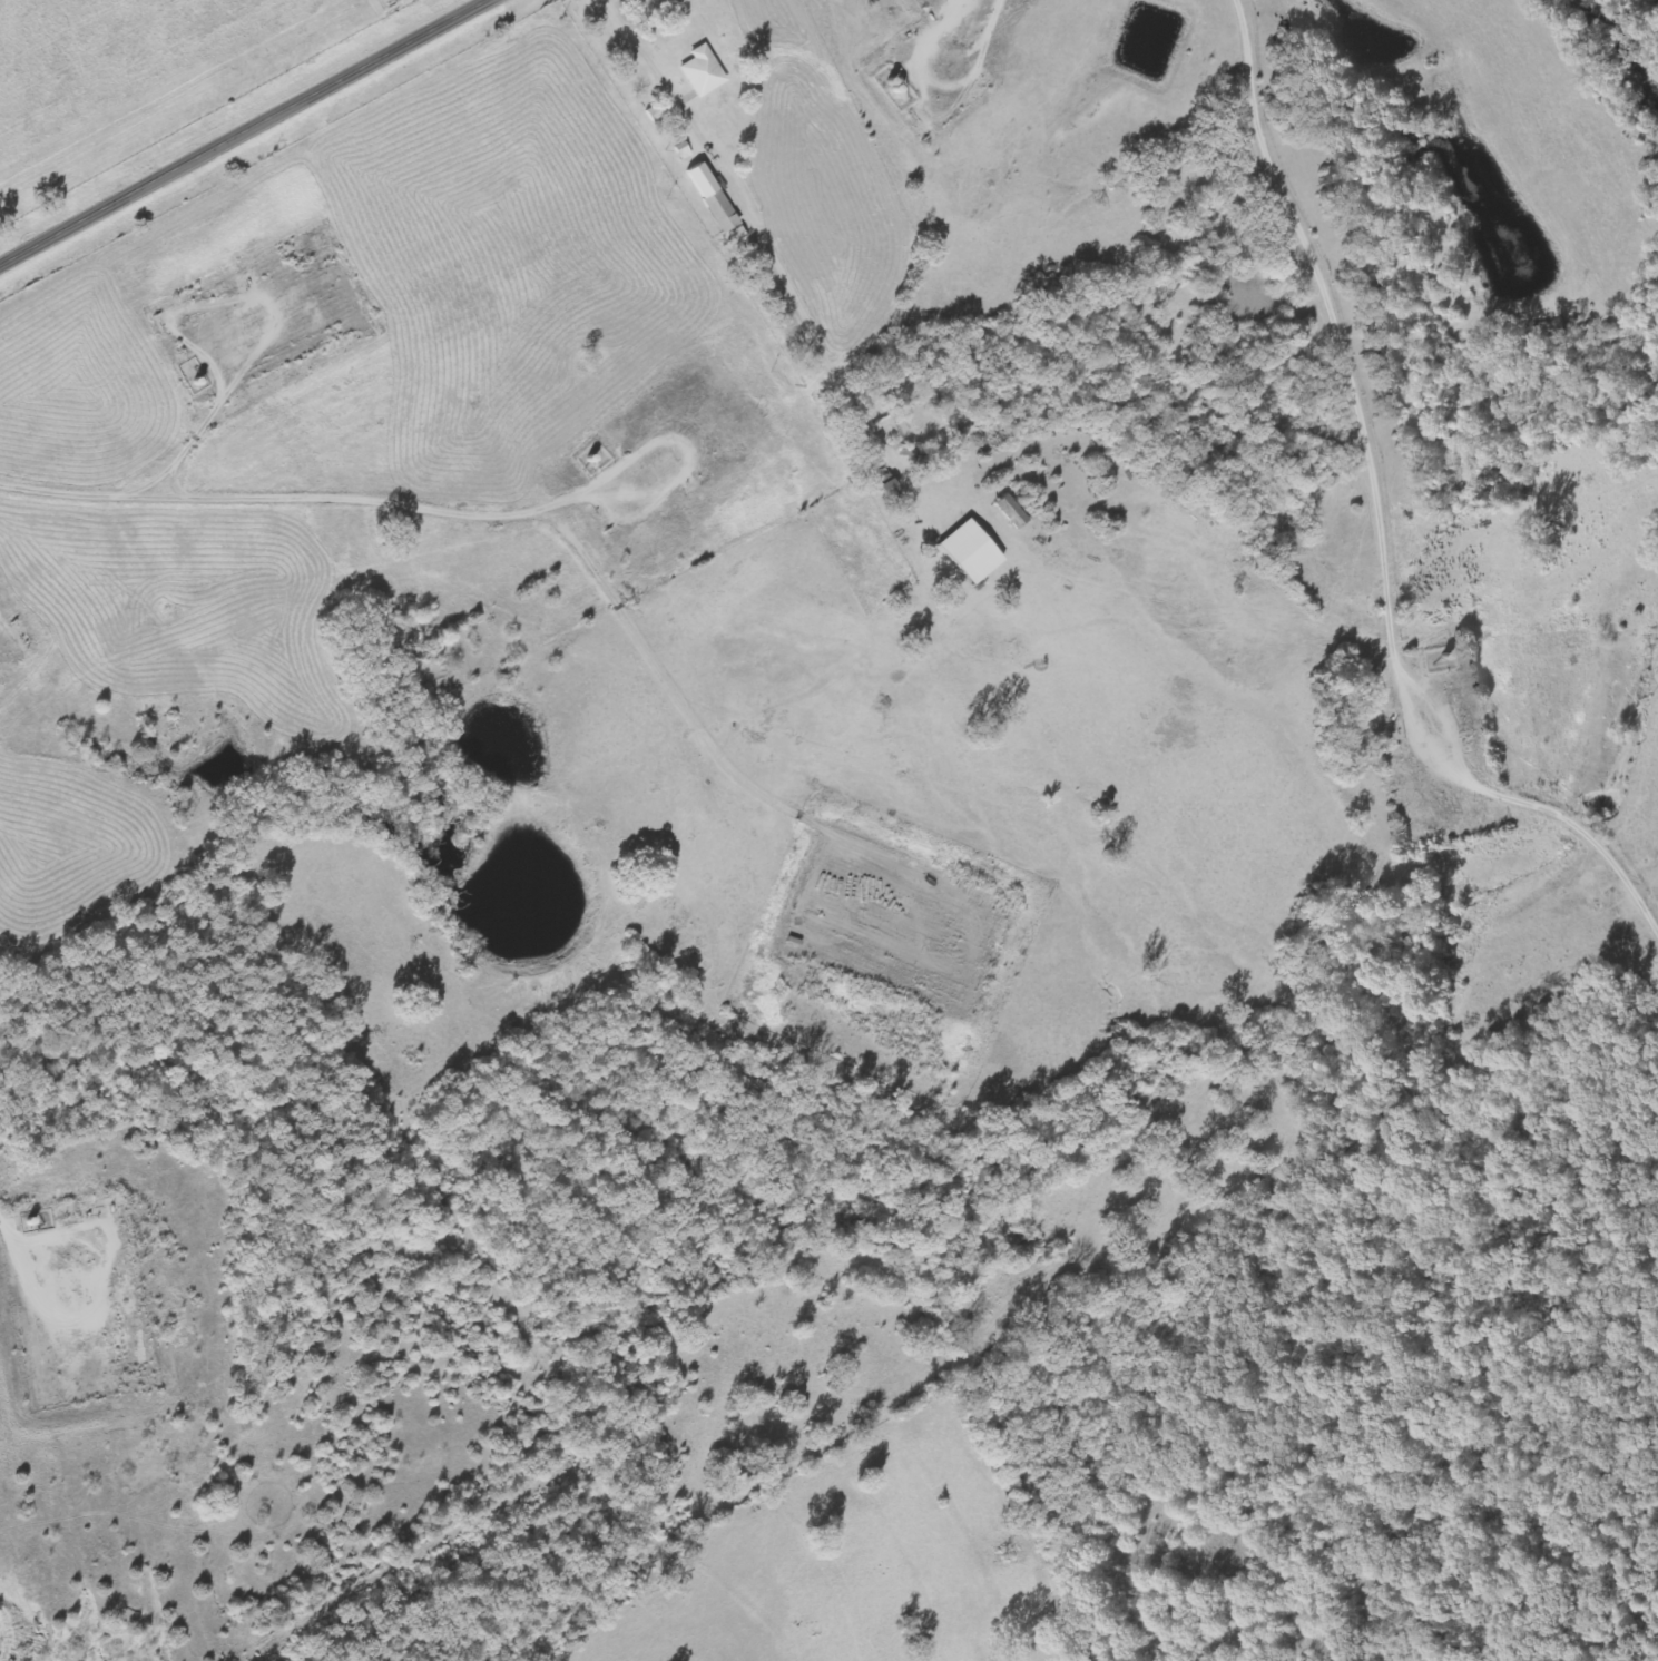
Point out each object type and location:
building: (703, 71)
building: (655, 114)
road: (238, 131)
building: (683, 151)
building: (715, 203)
building: (1011, 512)
building: (969, 552)

